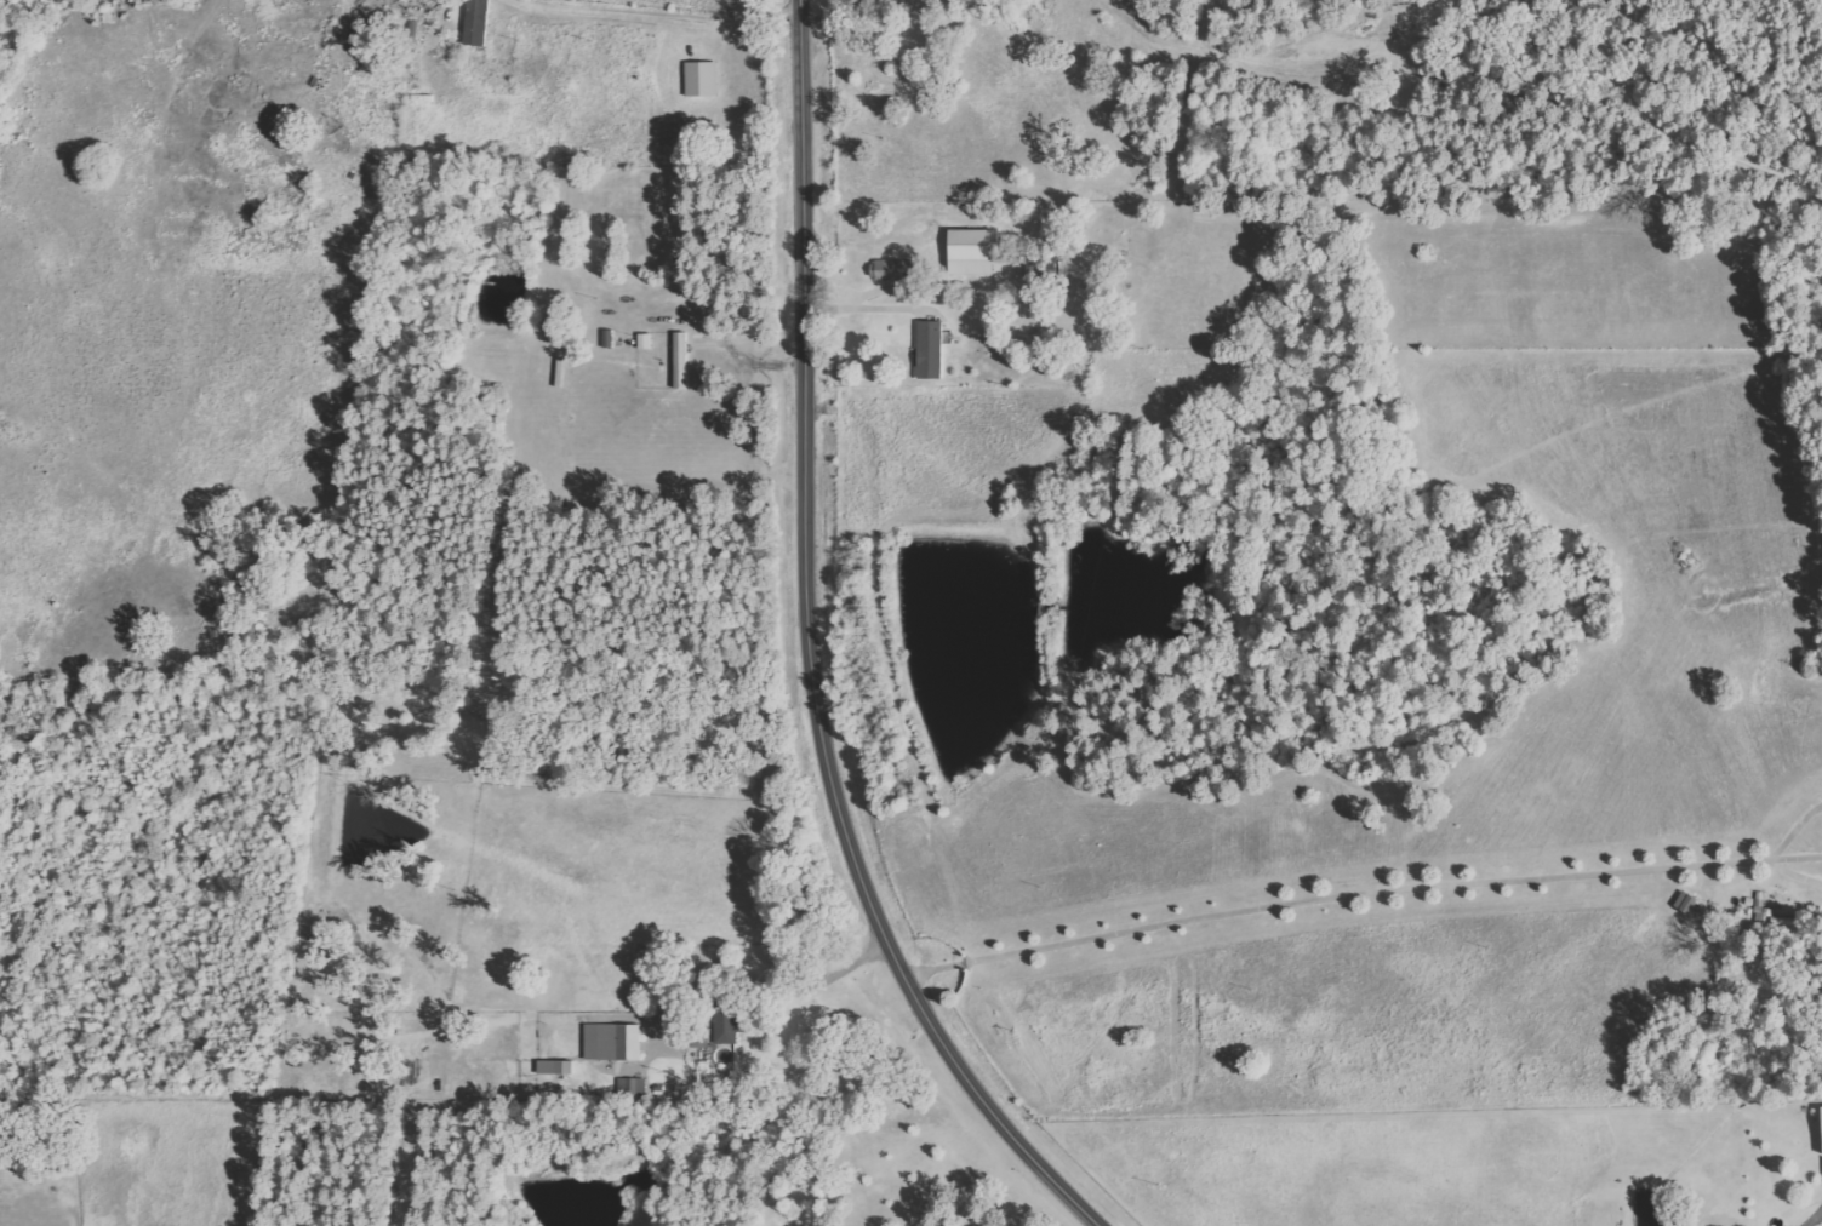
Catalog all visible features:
building: (478, 23)
building: (702, 79)
building: (972, 252)
building: (889, 270)
building: (930, 350)
building: (681, 360)
road: (809, 655)
building: (726, 1025)
building: (555, 1069)
building: (633, 1089)

